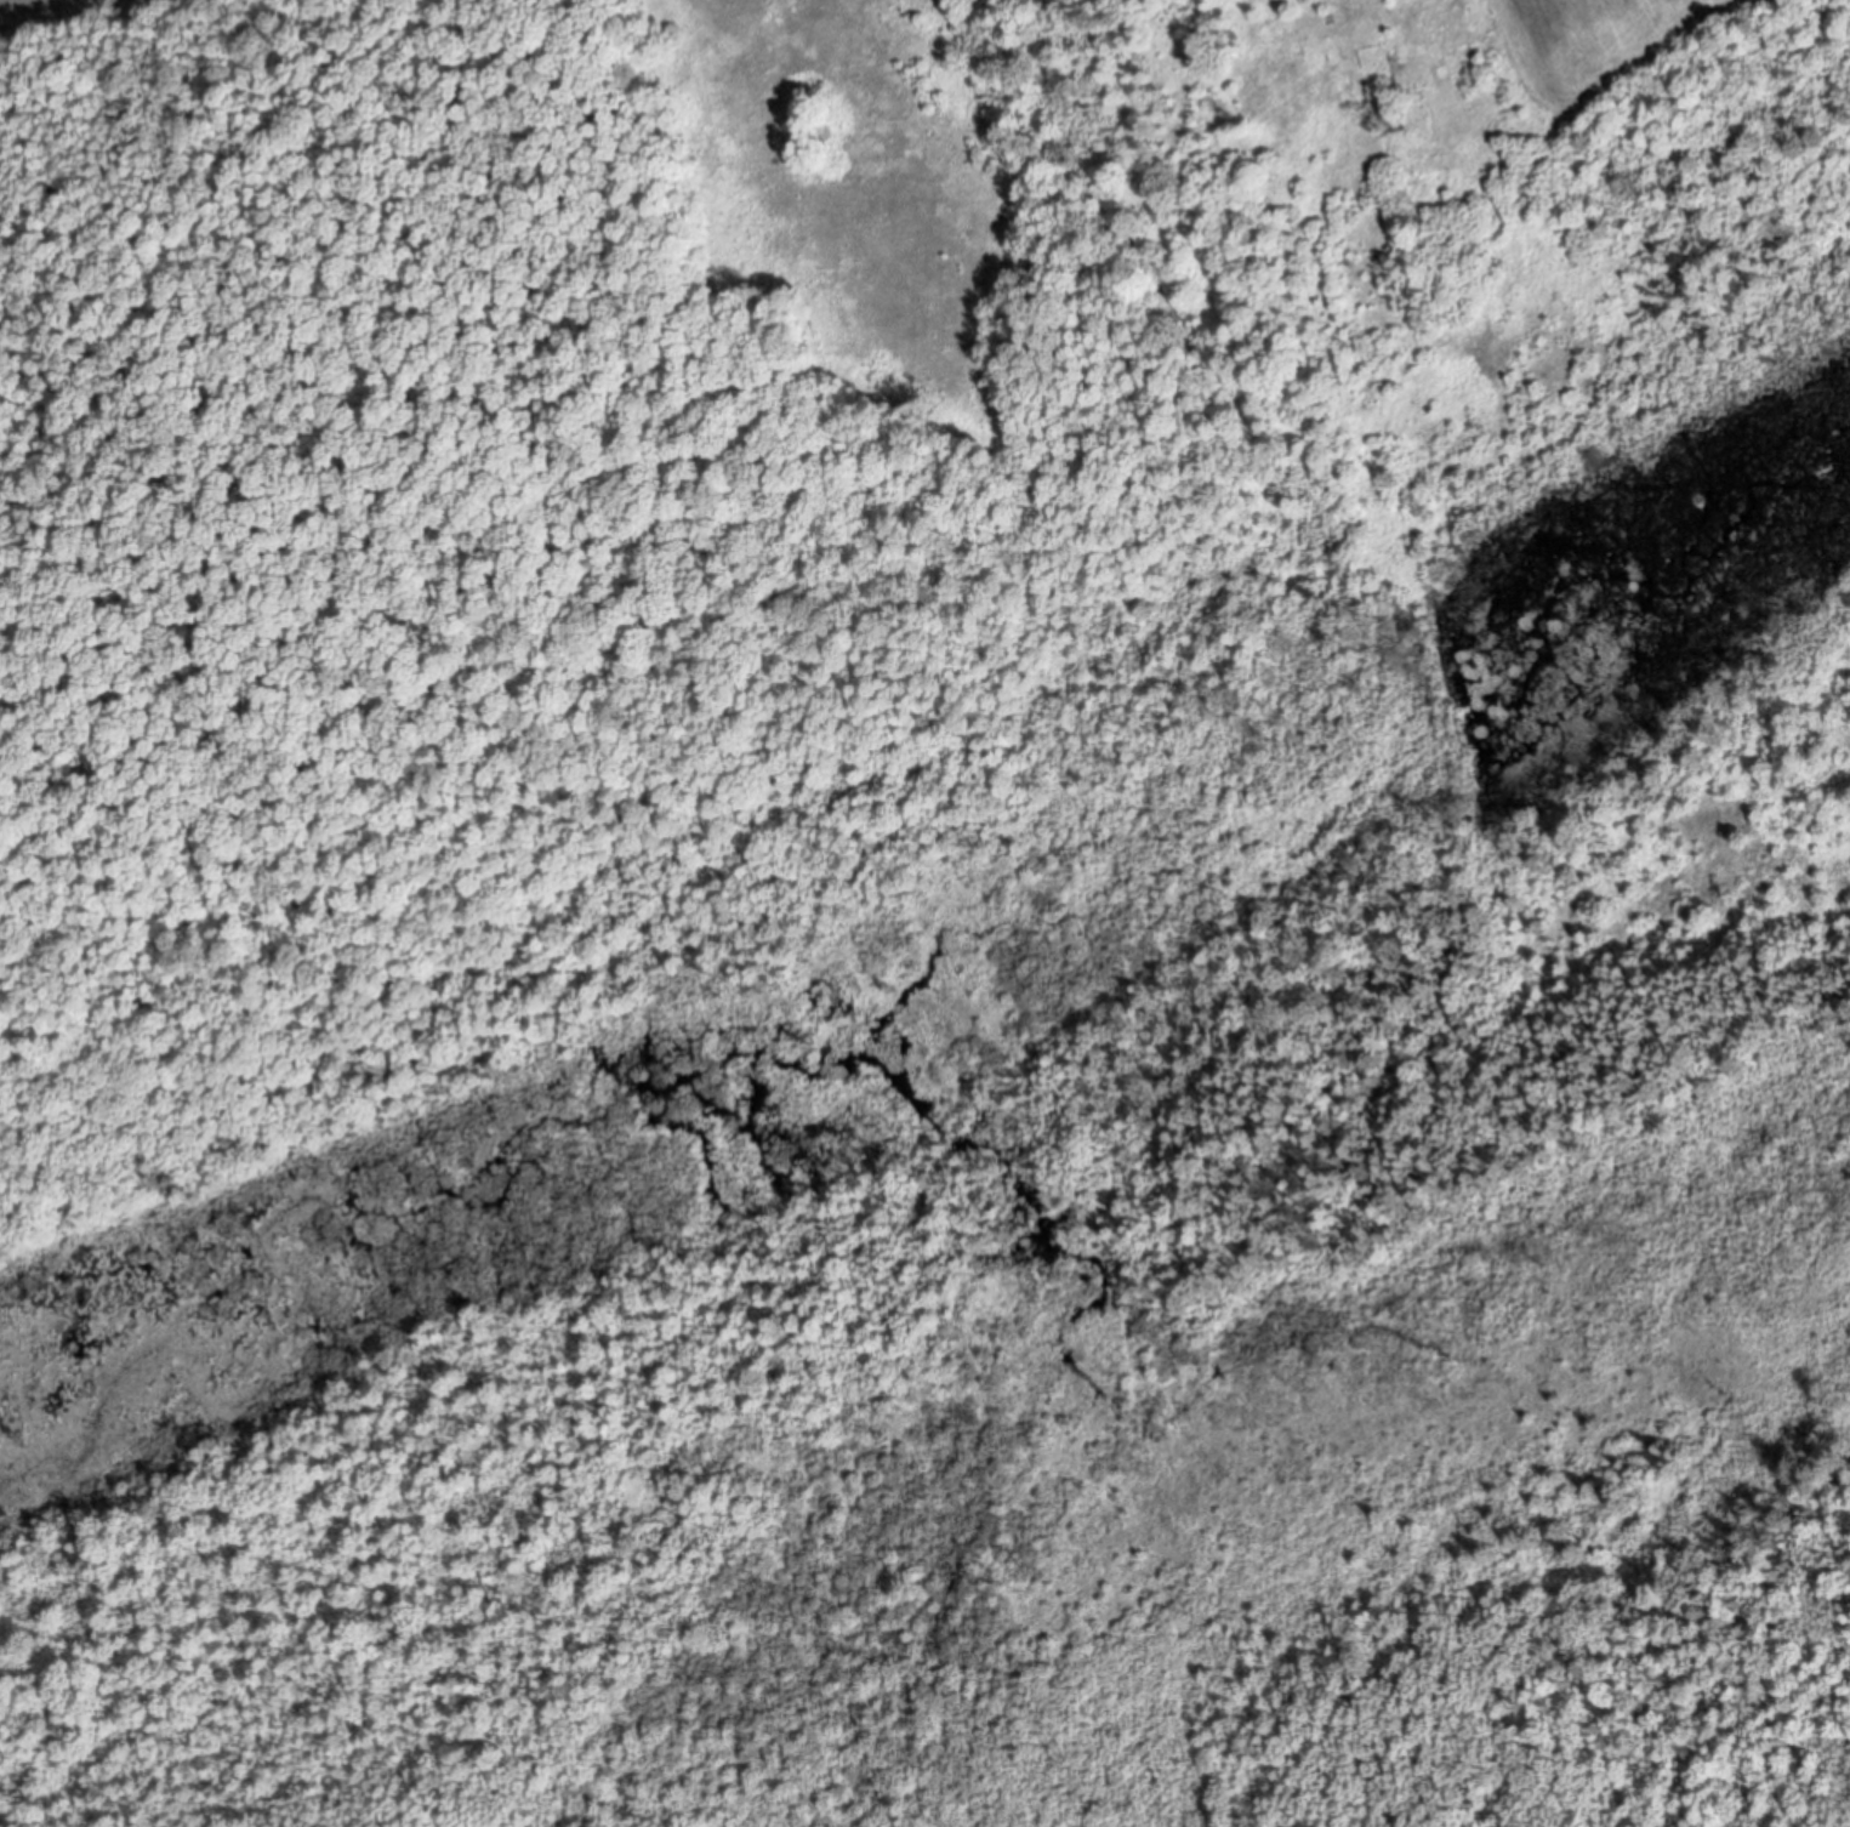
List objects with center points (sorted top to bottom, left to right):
building: (1382, 86)

